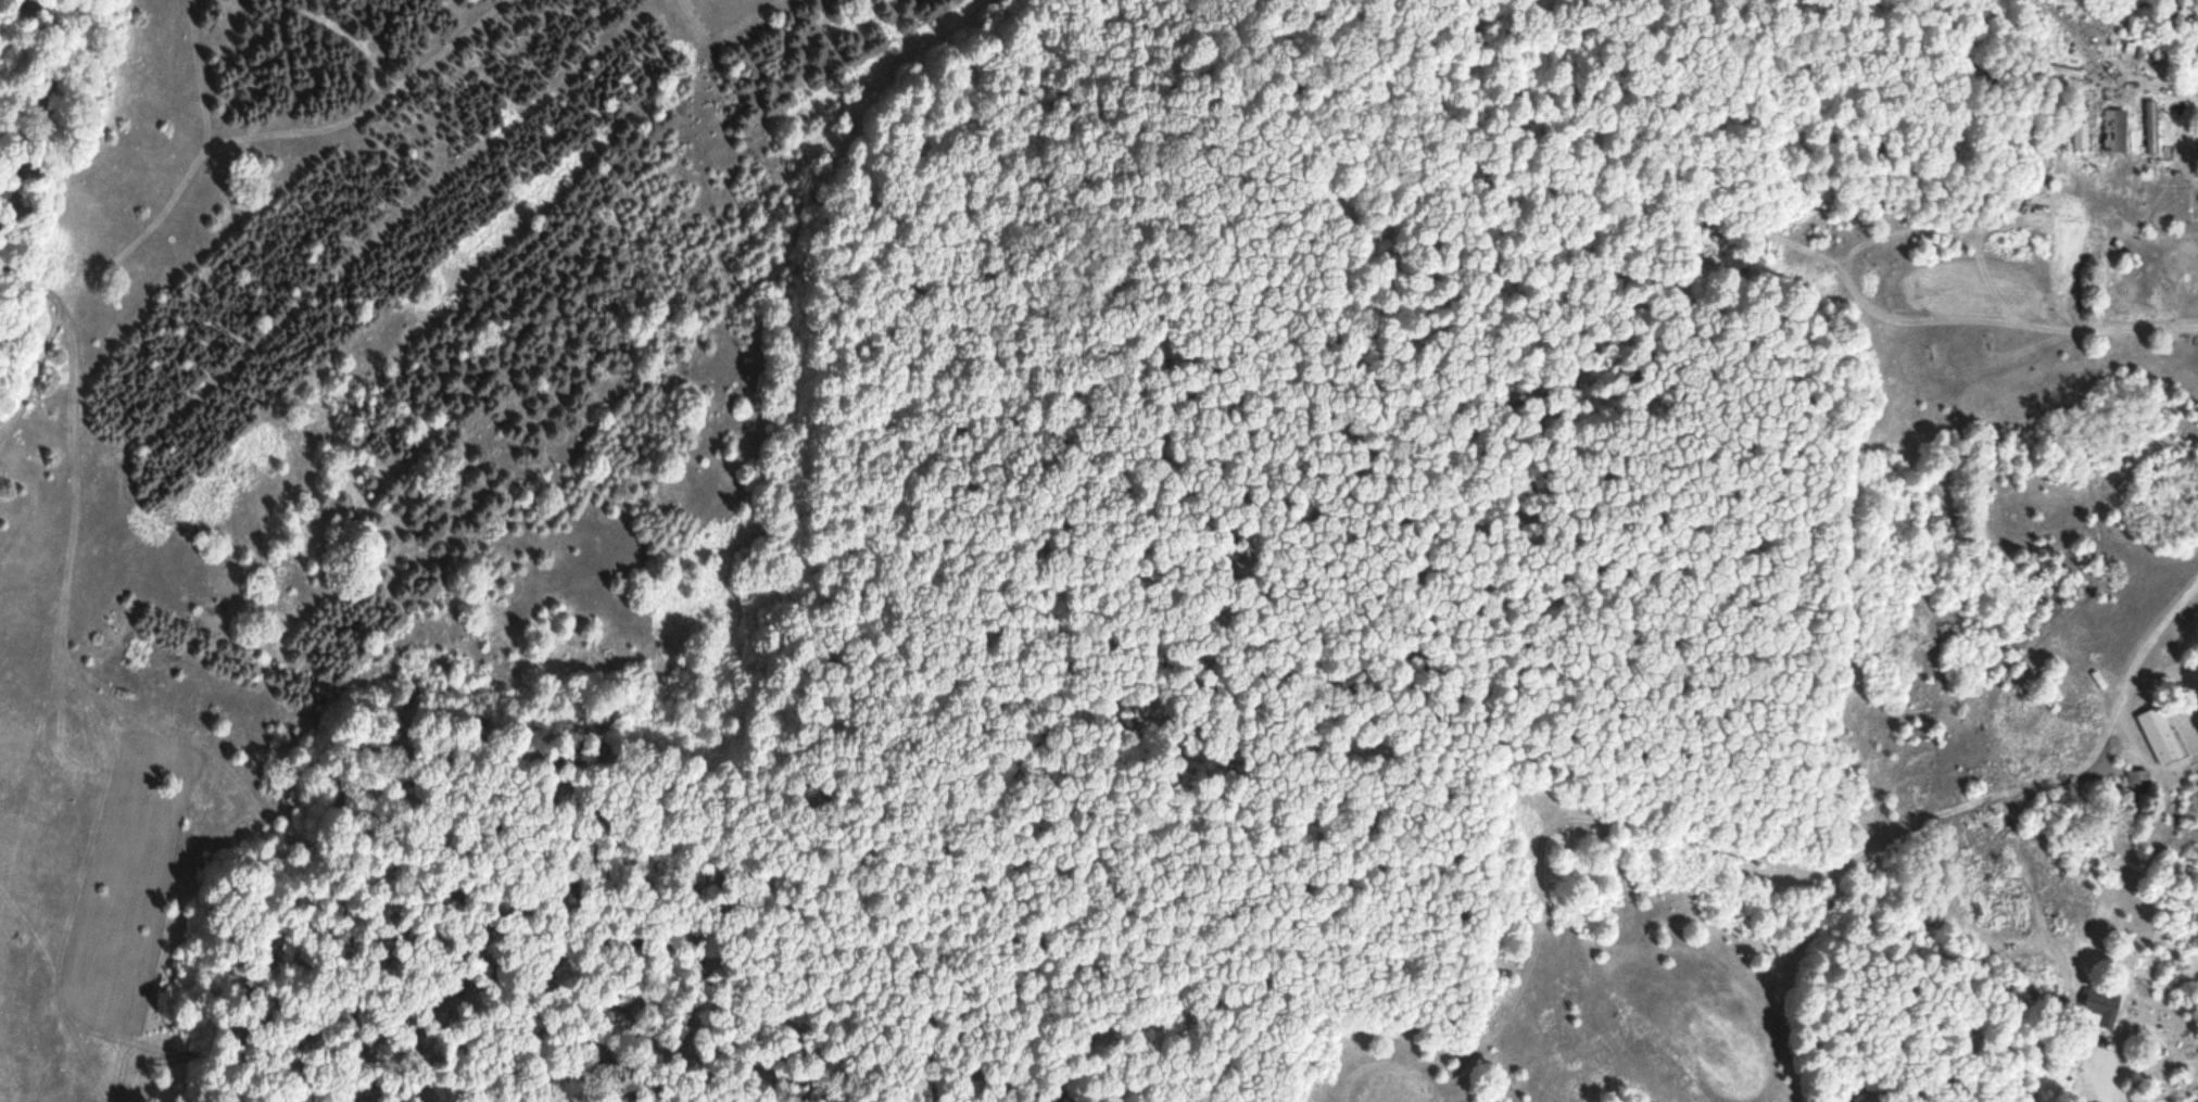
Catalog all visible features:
building: (1982, 78)
building: (2152, 127)
building: (2115, 131)
building: (2082, 132)
building: (2162, 736)
building: (2142, 782)
building: (2105, 1006)

